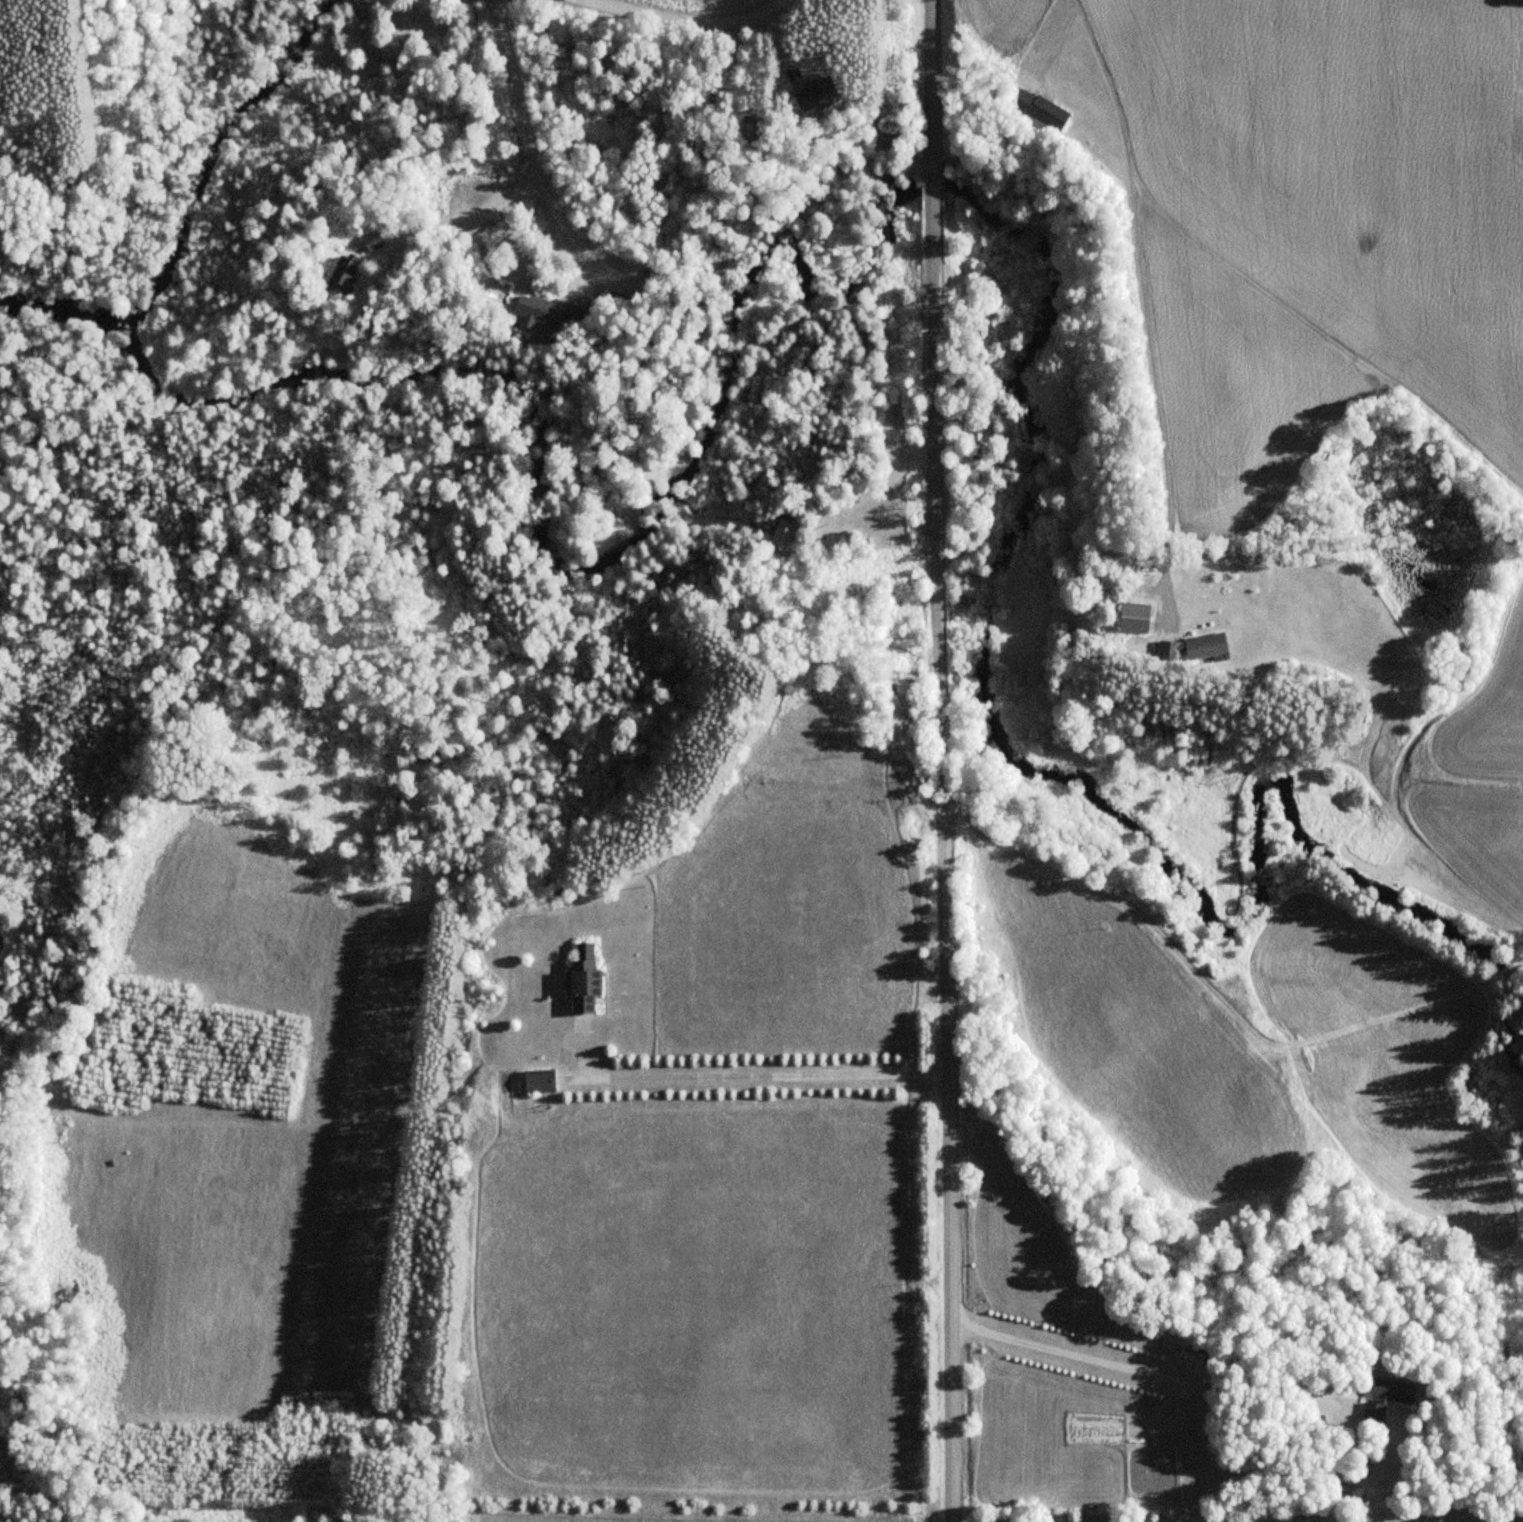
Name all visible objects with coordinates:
road: (696, 20)
building: (388, 50)
road: (929, 79)
building: (804, 92)
building: (1034, 108)
river: (212, 154)
road: (930, 185)
river: (1017, 223)
building: (367, 240)
building: (336, 270)
road: (933, 301)
road: (1145, 308)
river: (63, 309)
building: (542, 311)
building: (782, 535)
building: (1130, 617)
building: (1187, 647)
road: (946, 956)
building: (582, 979)
river: (1520, 1053)
building: (537, 1080)
building: (1385, 1401)

